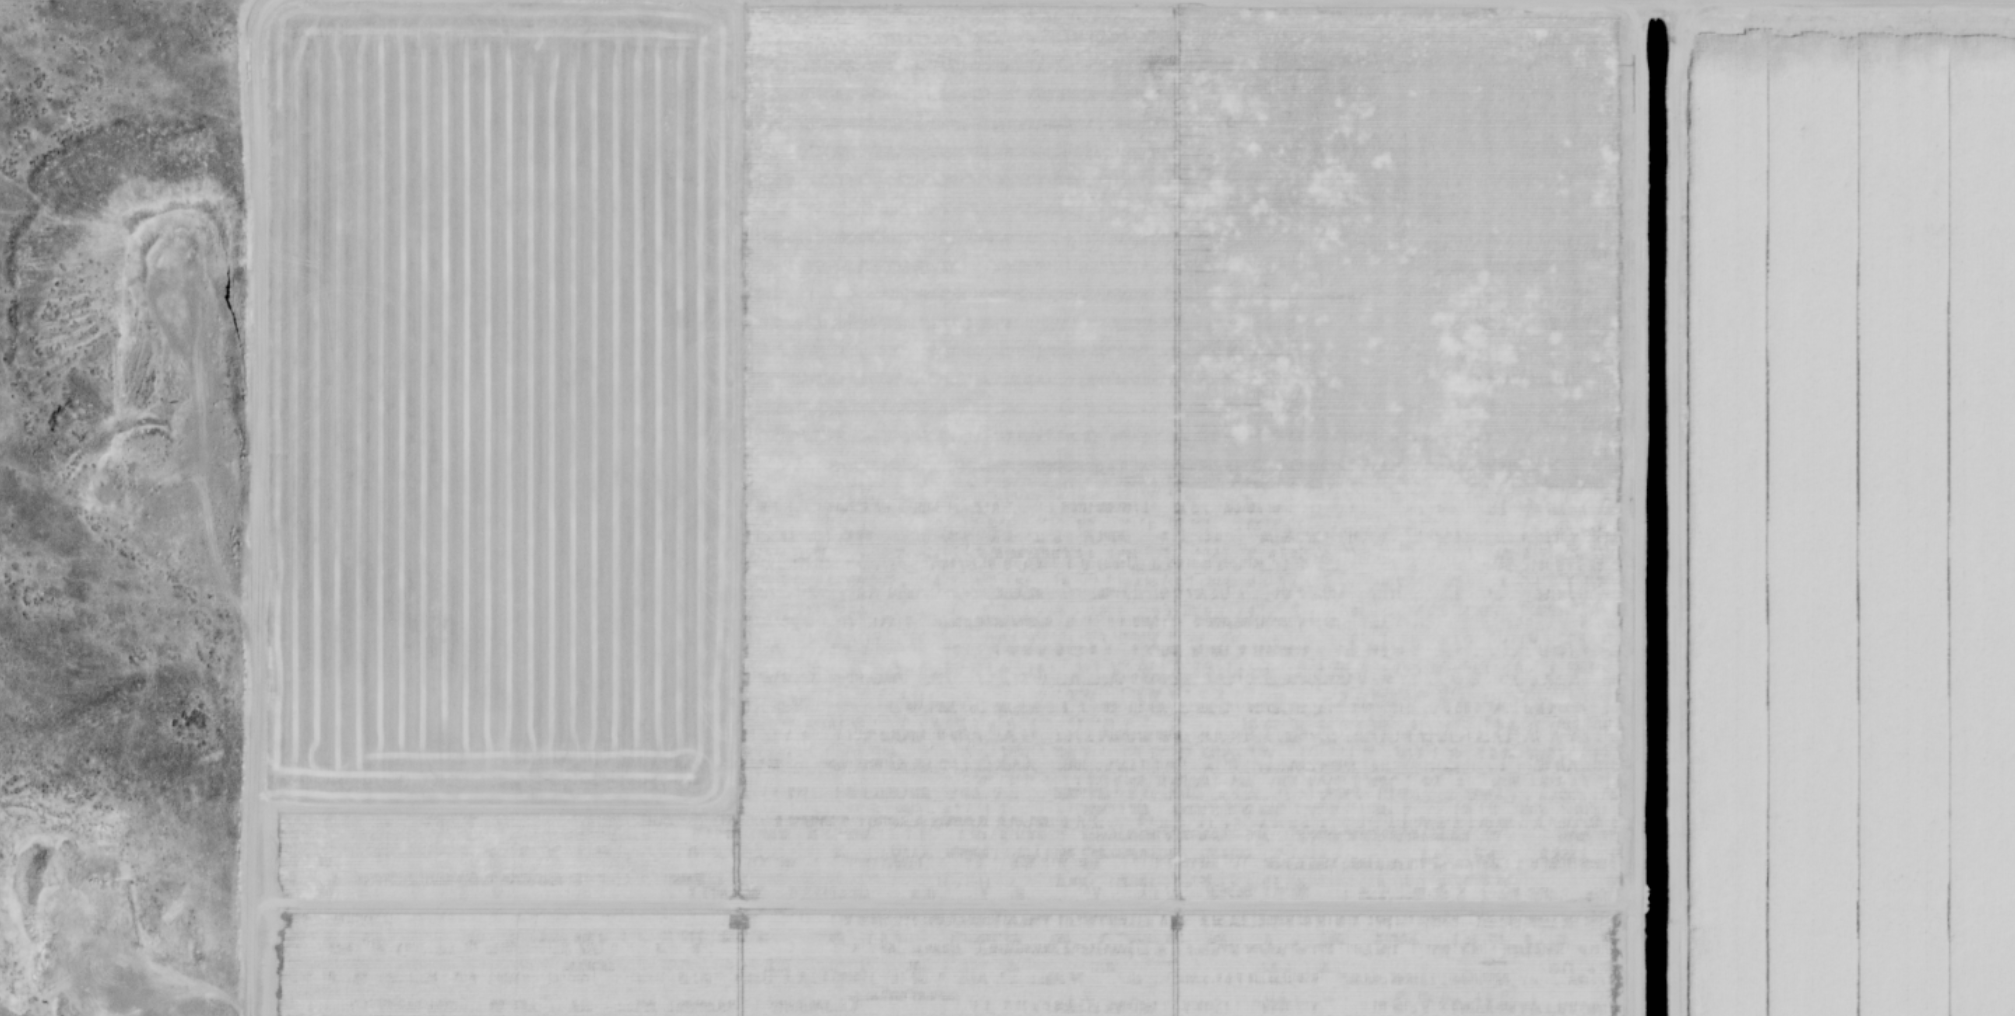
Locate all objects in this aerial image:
crop: (1130, 507)

